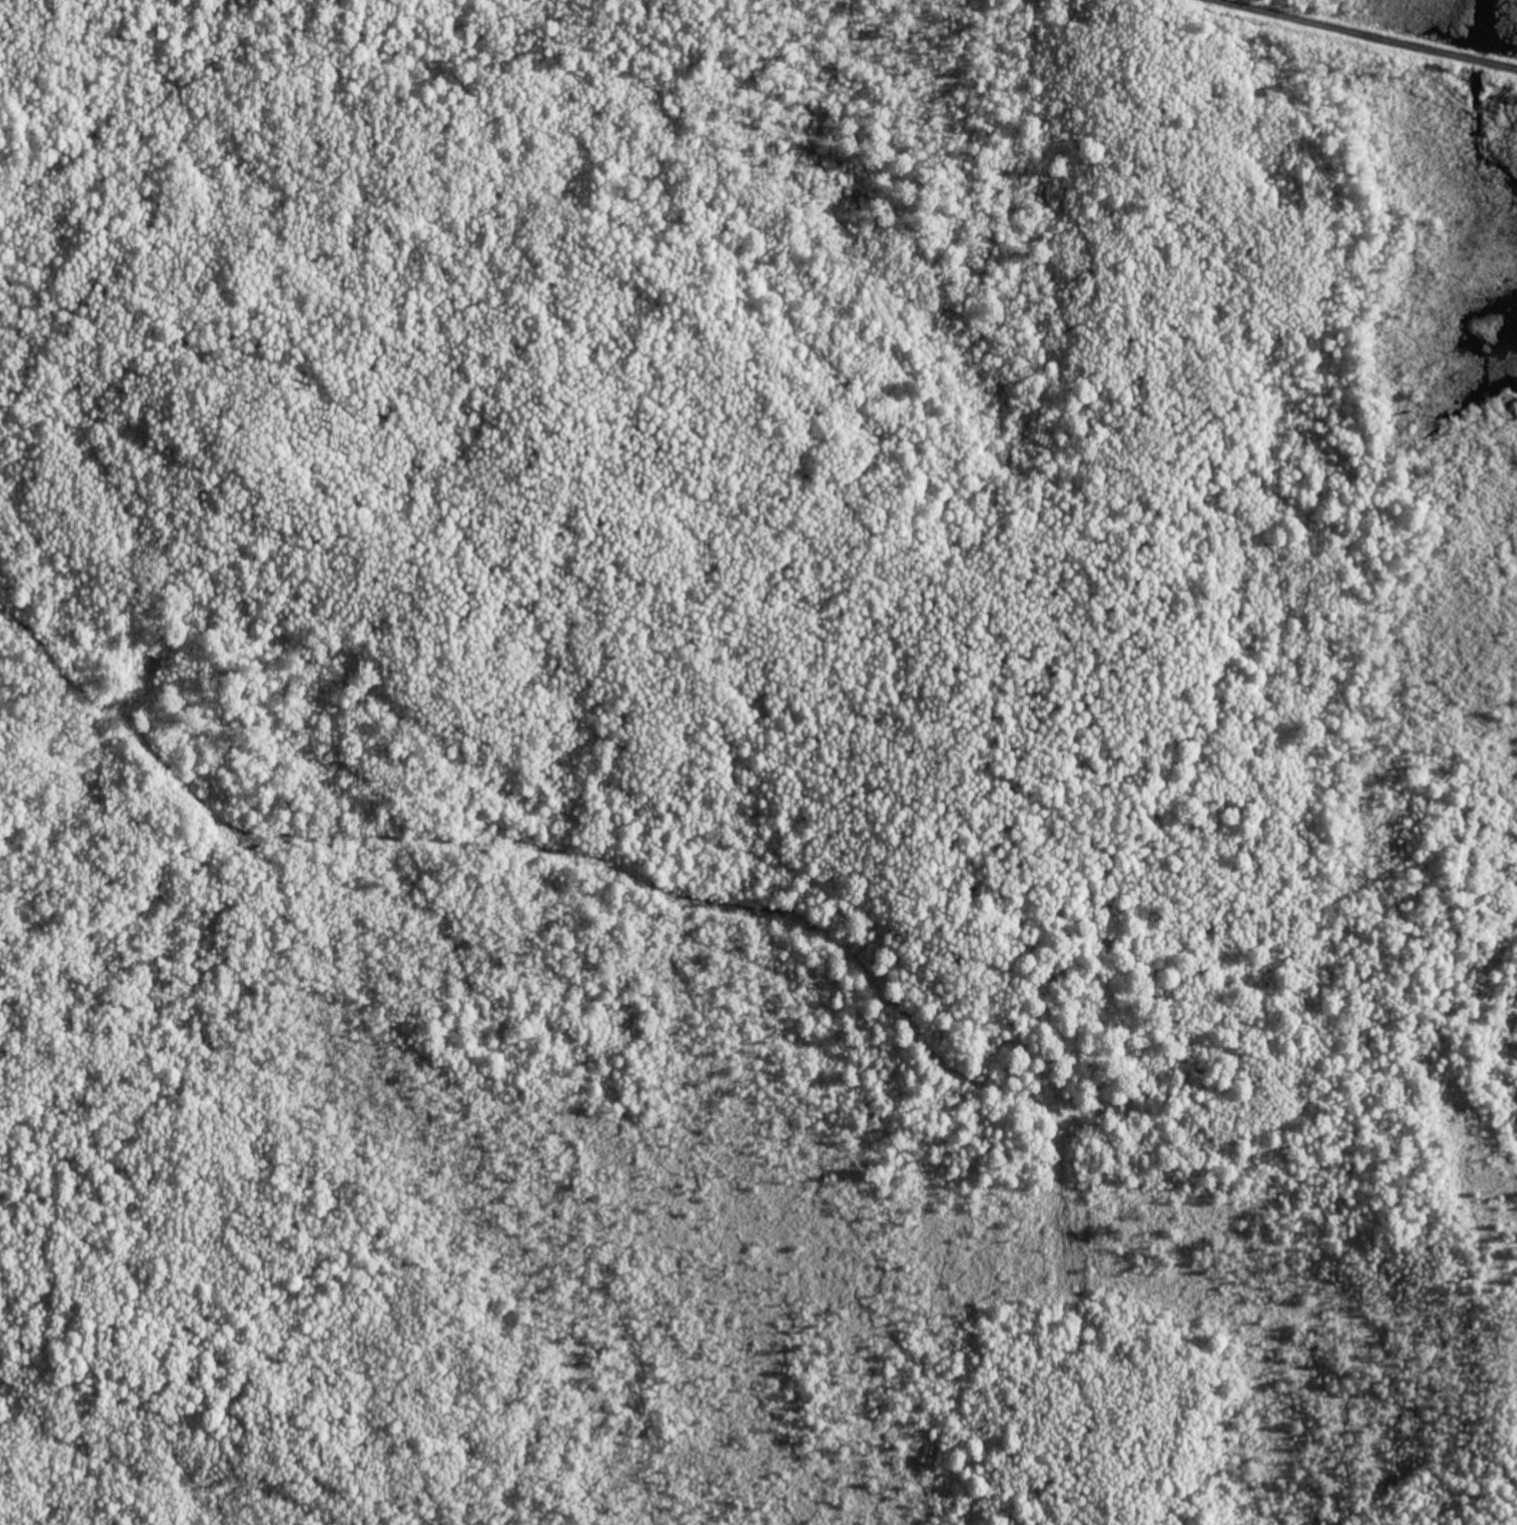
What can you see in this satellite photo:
road: (1353, 36)

